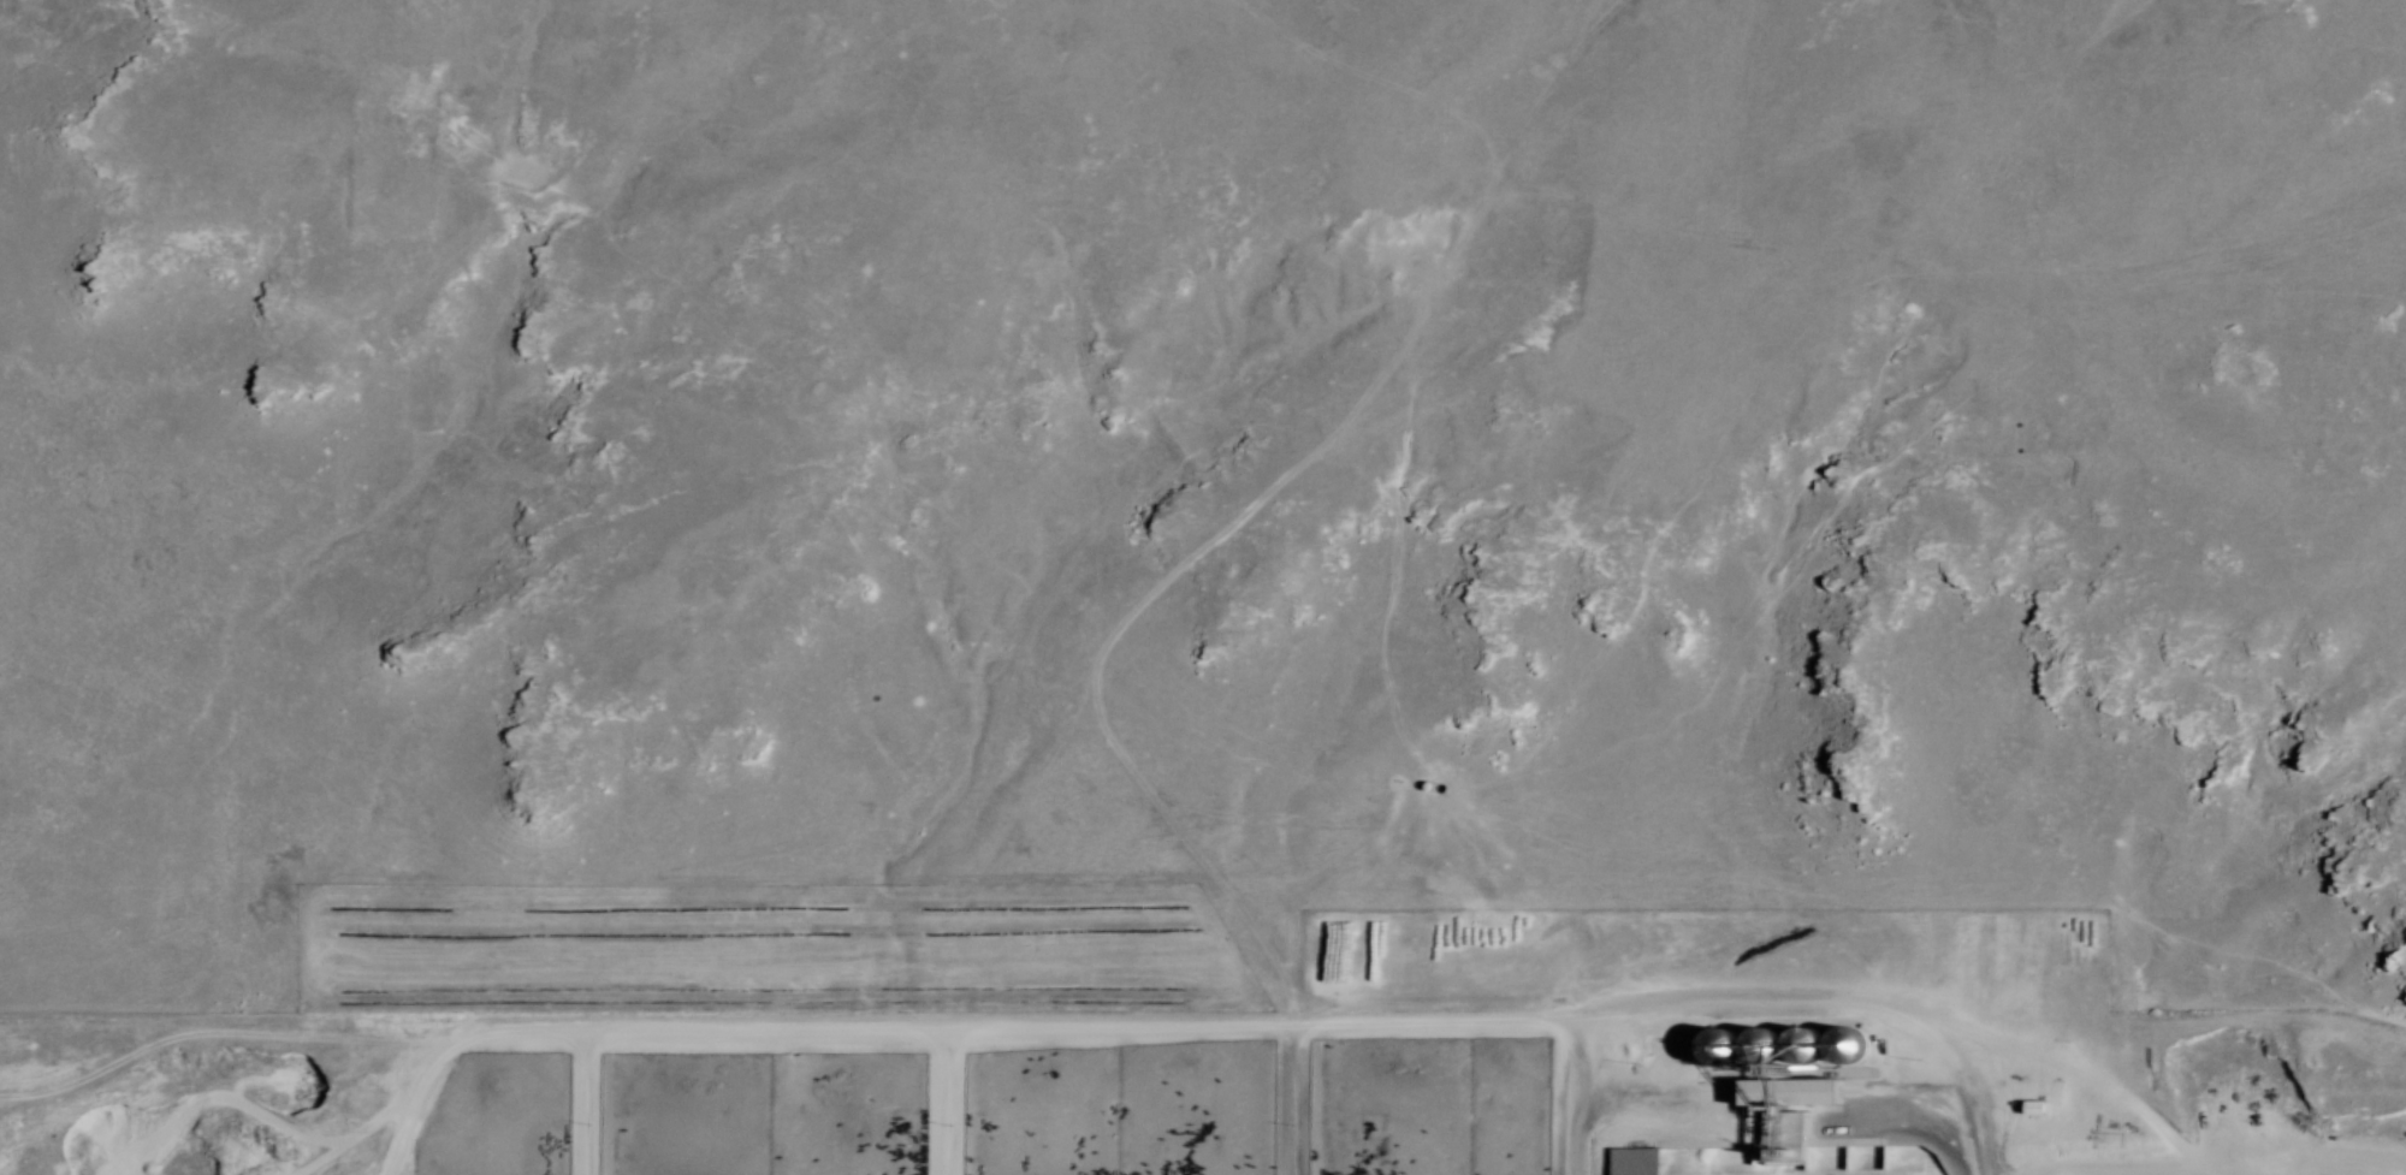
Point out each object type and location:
road: (1084, 1033)
building: (1845, 1045)
silo: (1845, 1045)
building: (1806, 1048)
silo: (1806, 1048)
building: (1719, 1049)
silo: (1719, 1049)
building: (1764, 1049)
silo: (1764, 1049)
building: (1791, 1093)
road: (1287, 1102)
road: (411, 1105)
road: (582, 1105)
road: (941, 1105)
building: (2035, 1108)
building: (1797, 1138)
building: (1636, 1163)
road: (2134, 1173)

